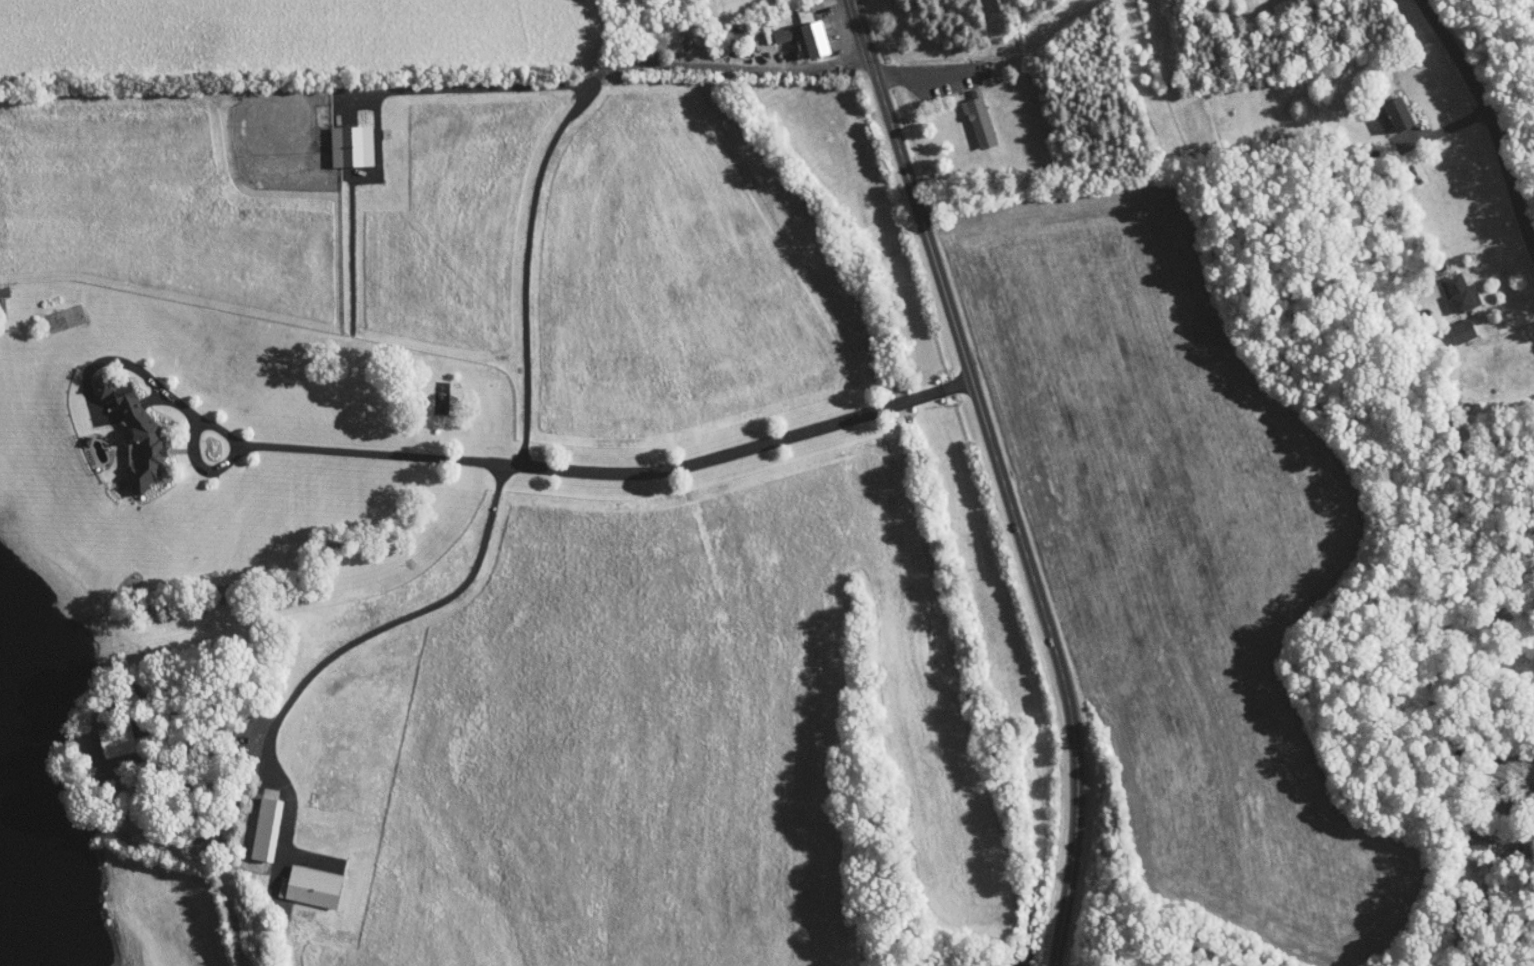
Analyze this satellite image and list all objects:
road: (835, 19)
building: (802, 25)
building: (774, 27)
road: (919, 77)
building: (1388, 106)
building: (969, 113)
road: (1452, 115)
road: (1491, 116)
building: (341, 138)
road: (546, 155)
building: (1450, 285)
building: (1452, 324)
road: (1513, 328)
building: (124, 426)
road: (597, 473)
road: (1002, 478)
road: (390, 622)
building: (105, 733)
building: (255, 822)
building: (1467, 834)
building: (302, 880)

